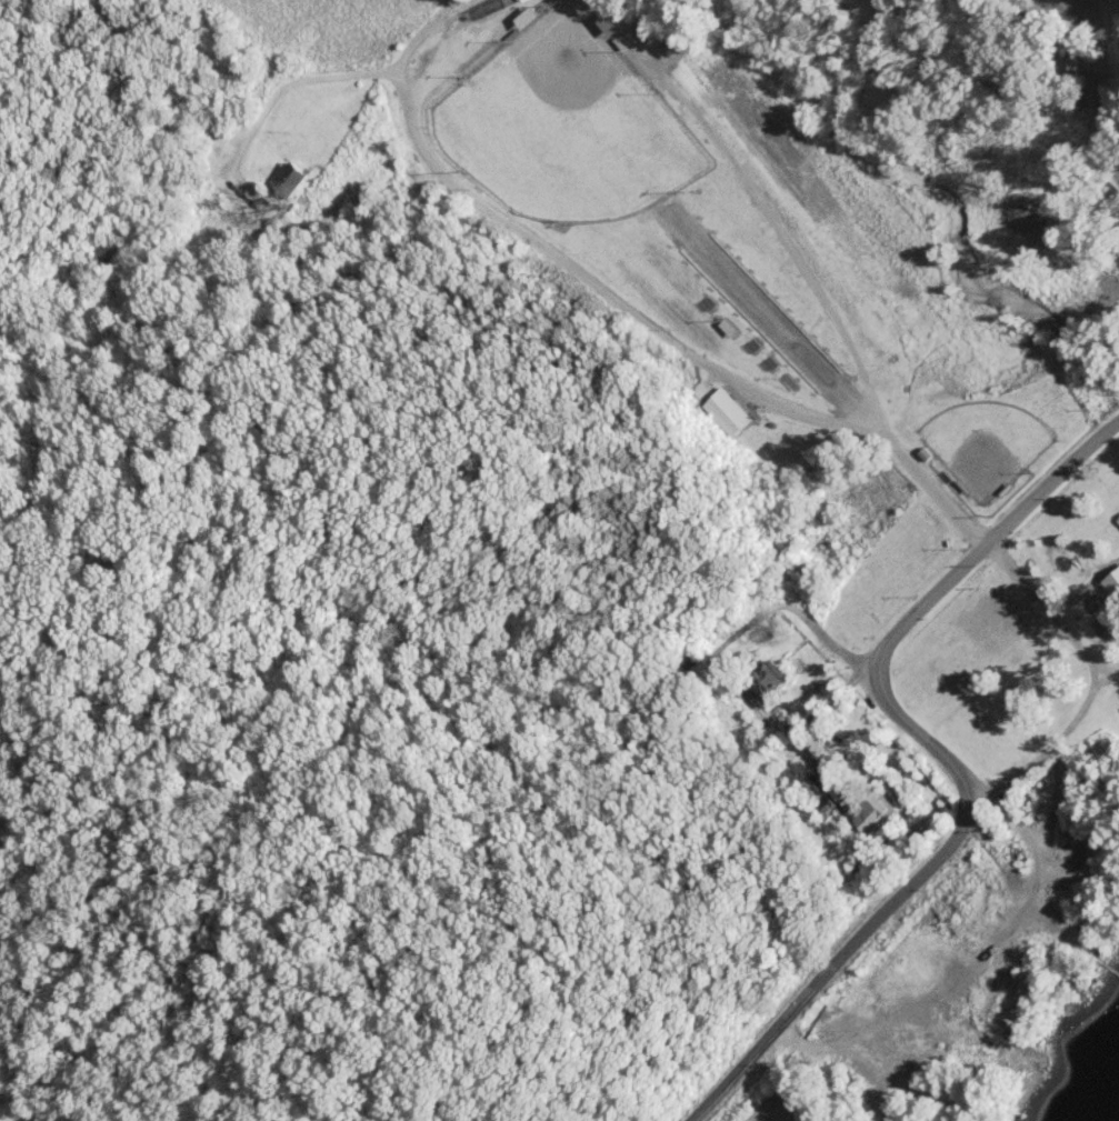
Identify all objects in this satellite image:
road: (1081, 2)
road: (1013, 7)
building: (524, 16)
building: (608, 22)
building: (1063, 64)
road: (297, 77)
road: (1092, 92)
park: (563, 121)
building: (288, 177)
road: (631, 313)
building: (725, 327)
building: (722, 407)
park: (983, 446)
building: (1117, 519)
road: (829, 643)
road: (1108, 673)
building: (765, 678)
road: (1096, 679)
road: (945, 758)
building: (821, 805)
building: (865, 805)

